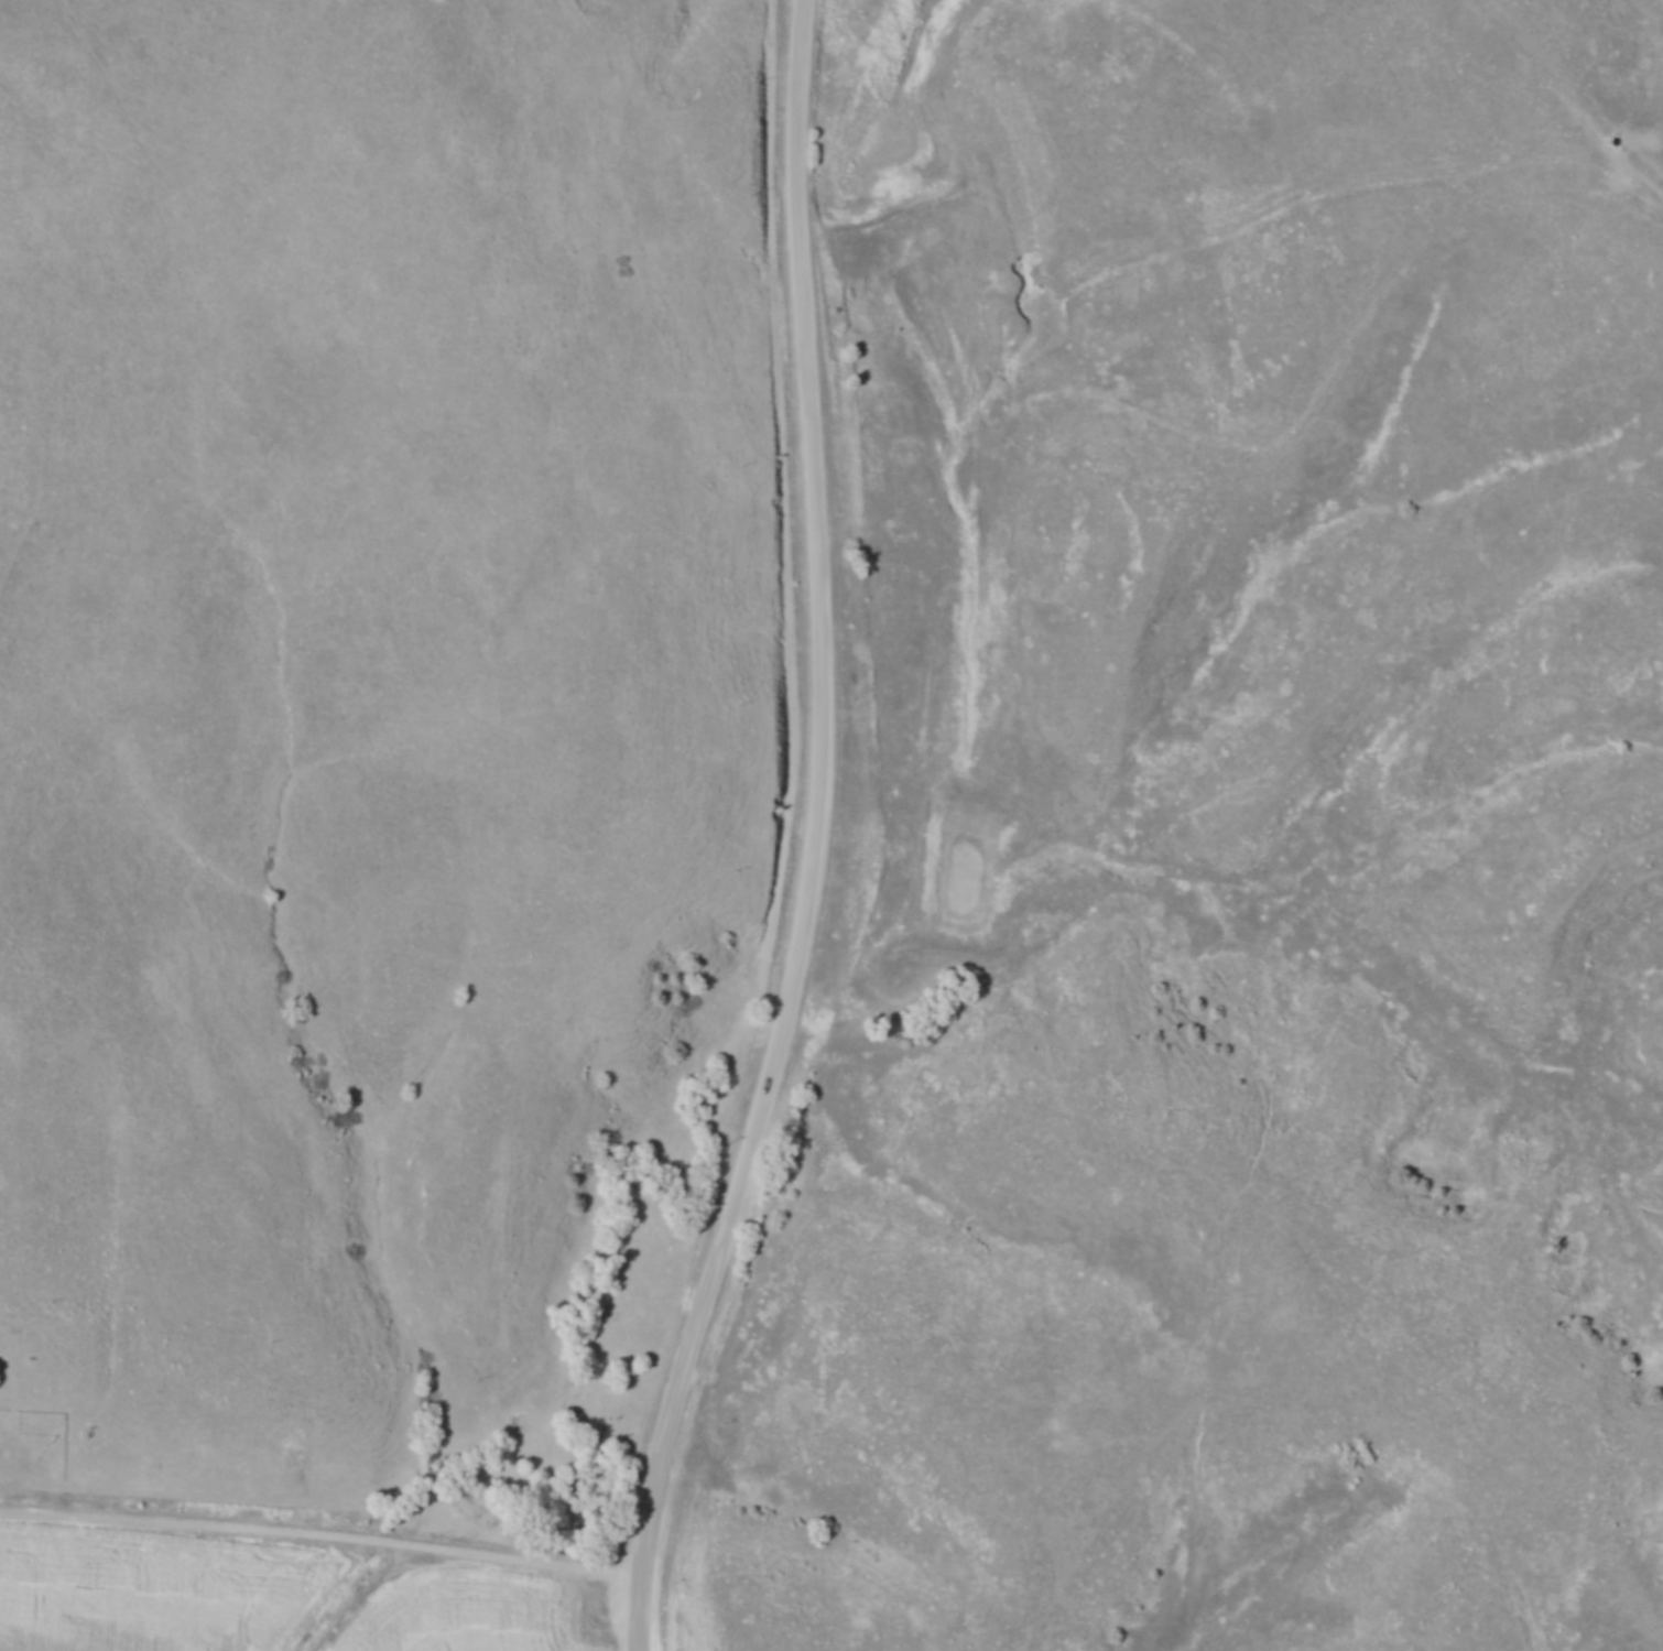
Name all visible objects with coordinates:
road: (819, 836)
road: (320, 1531)
crop: (143, 1592)
crop: (470, 1614)

